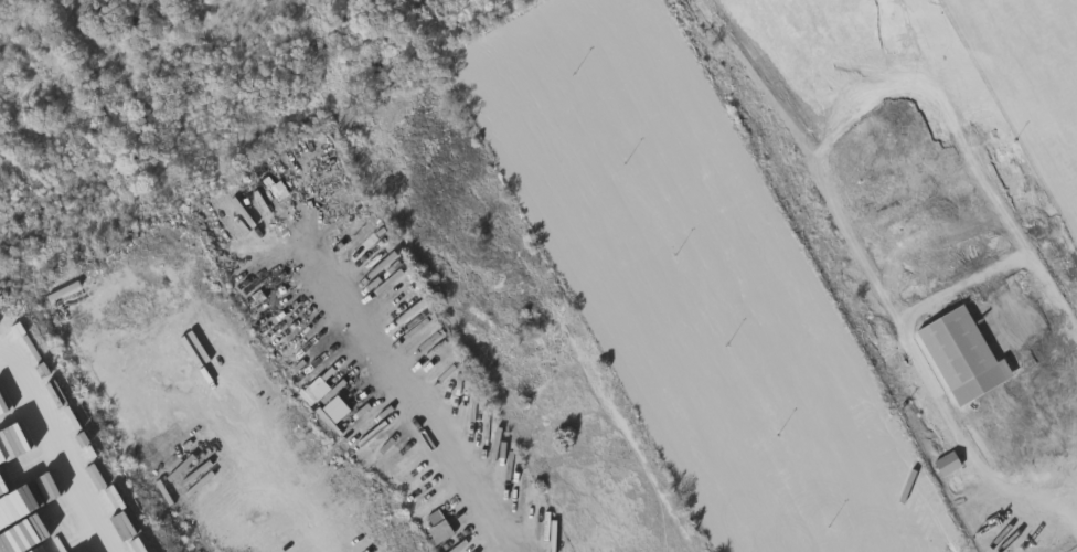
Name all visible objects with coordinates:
building: (964, 357)
road: (410, 404)
road: (53, 455)
building: (940, 460)
road: (1042, 463)
building: (949, 464)
road: (1073, 500)
building: (433, 524)
building: (981, 530)
road: (301, 540)

